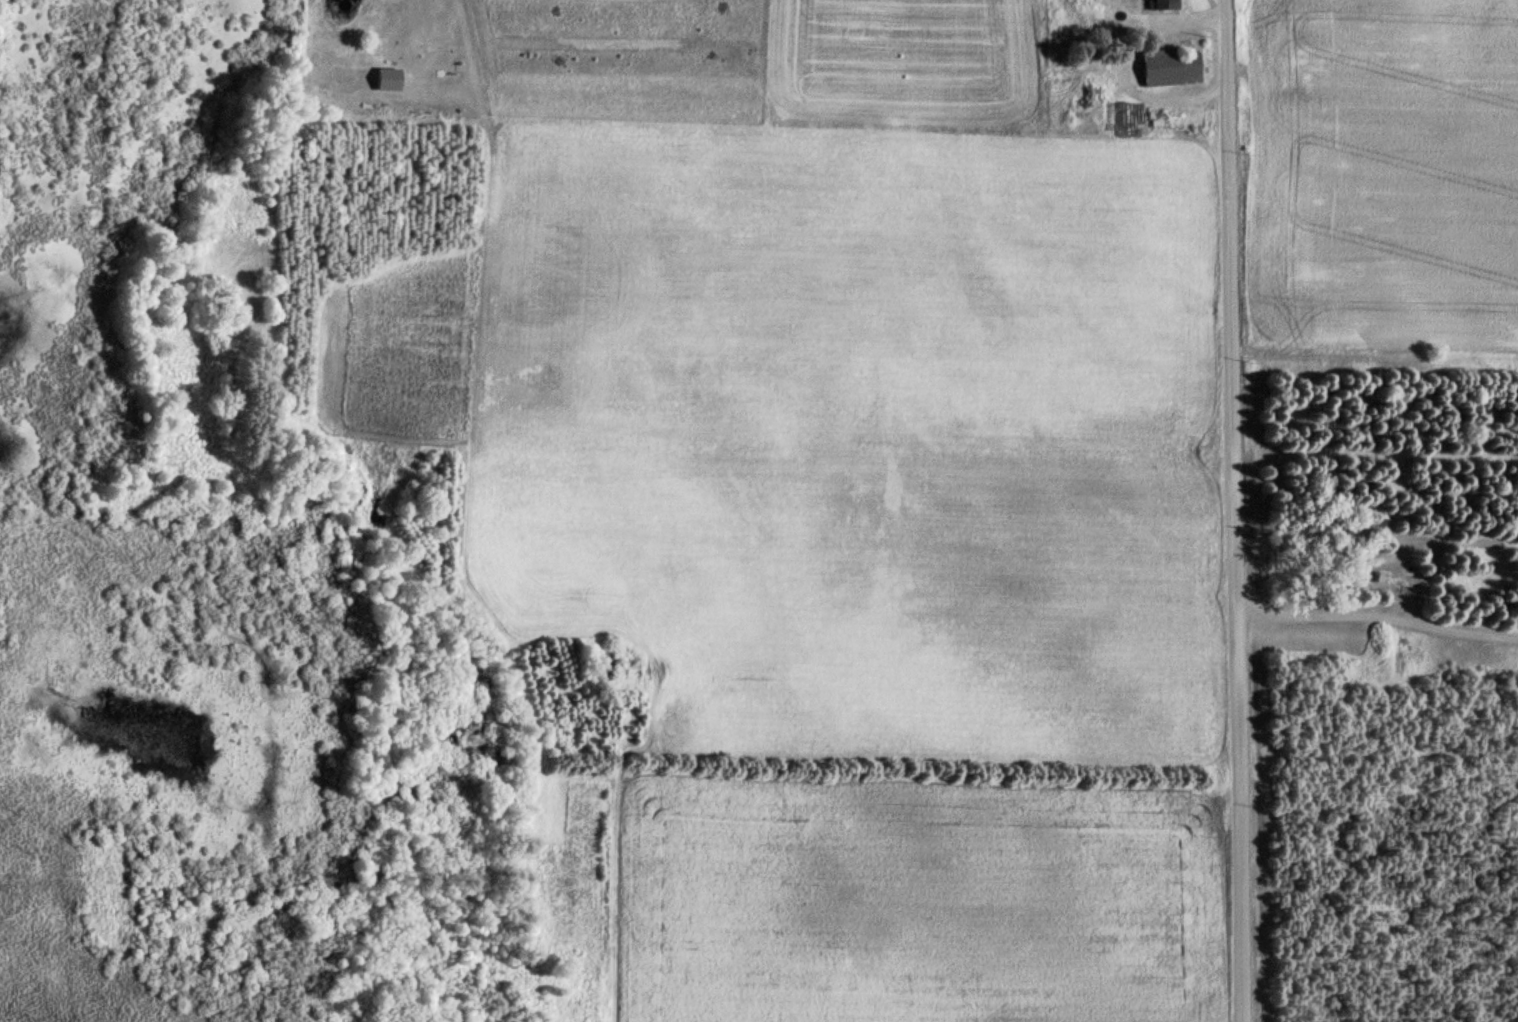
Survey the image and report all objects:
building: (1163, 5)
building: (1172, 67)
road: (1231, 511)
building: (1379, 521)
building: (1399, 579)

